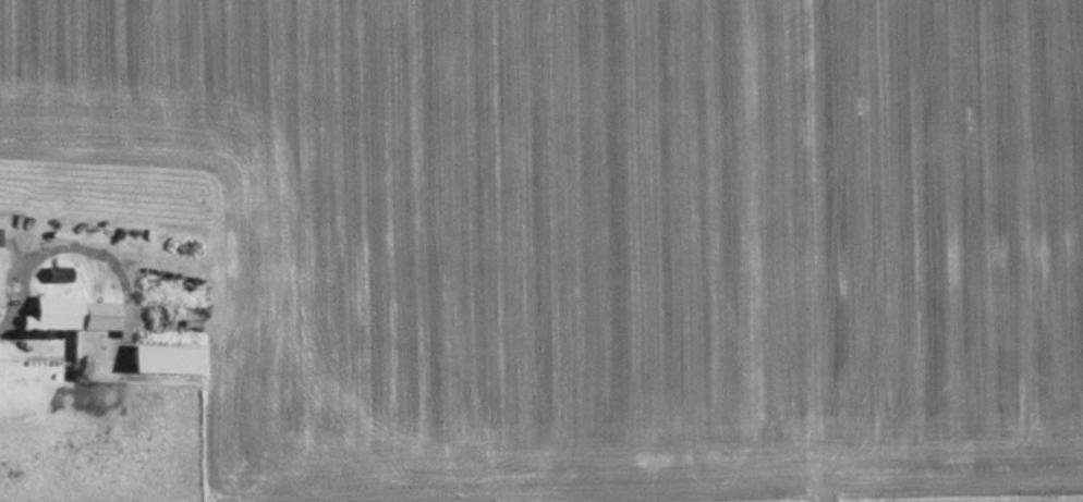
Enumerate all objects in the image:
building: (59, 273)
building: (73, 314)
building: (165, 358)

